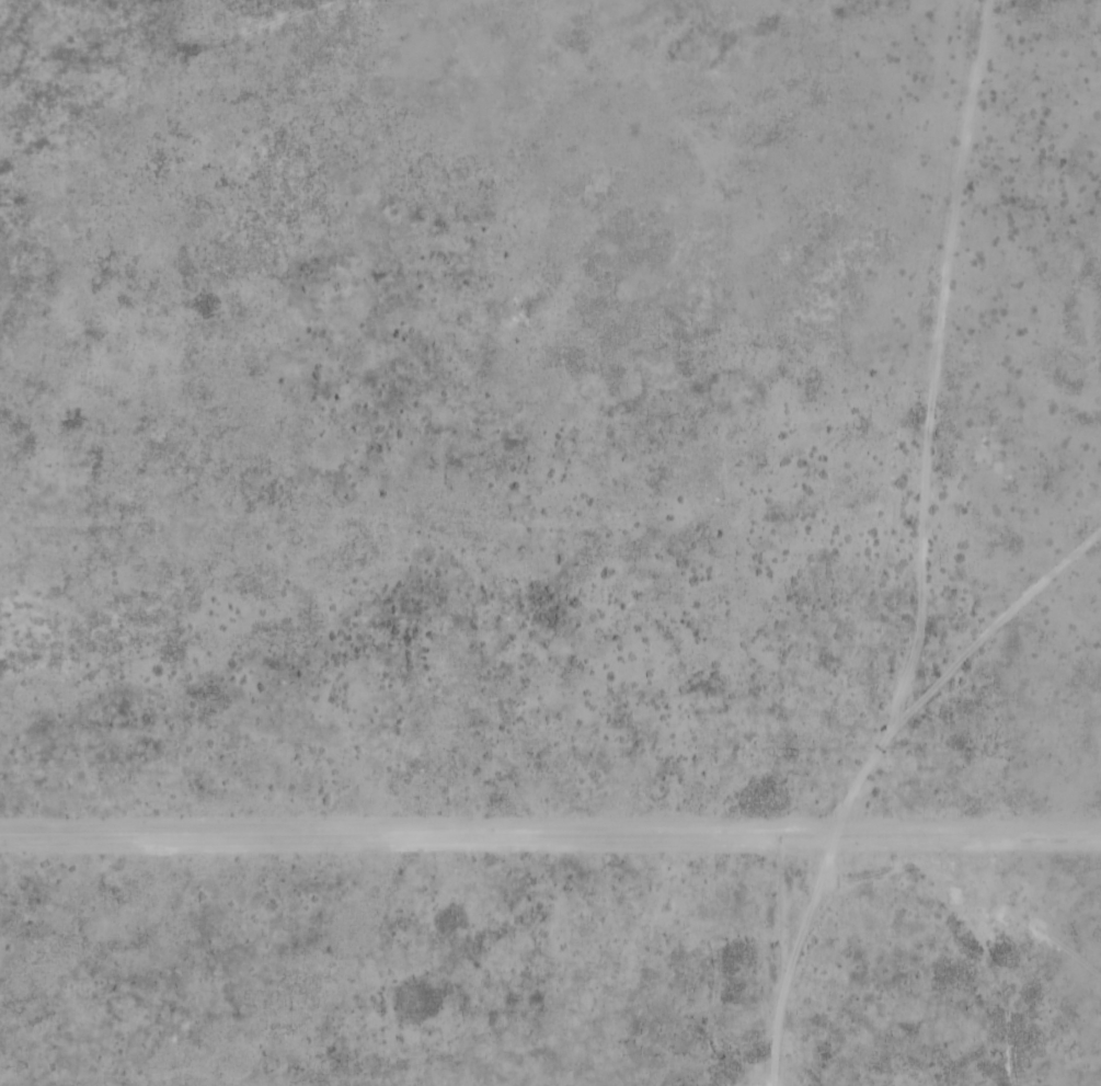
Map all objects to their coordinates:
road: (861, 756)
road: (988, 1001)

